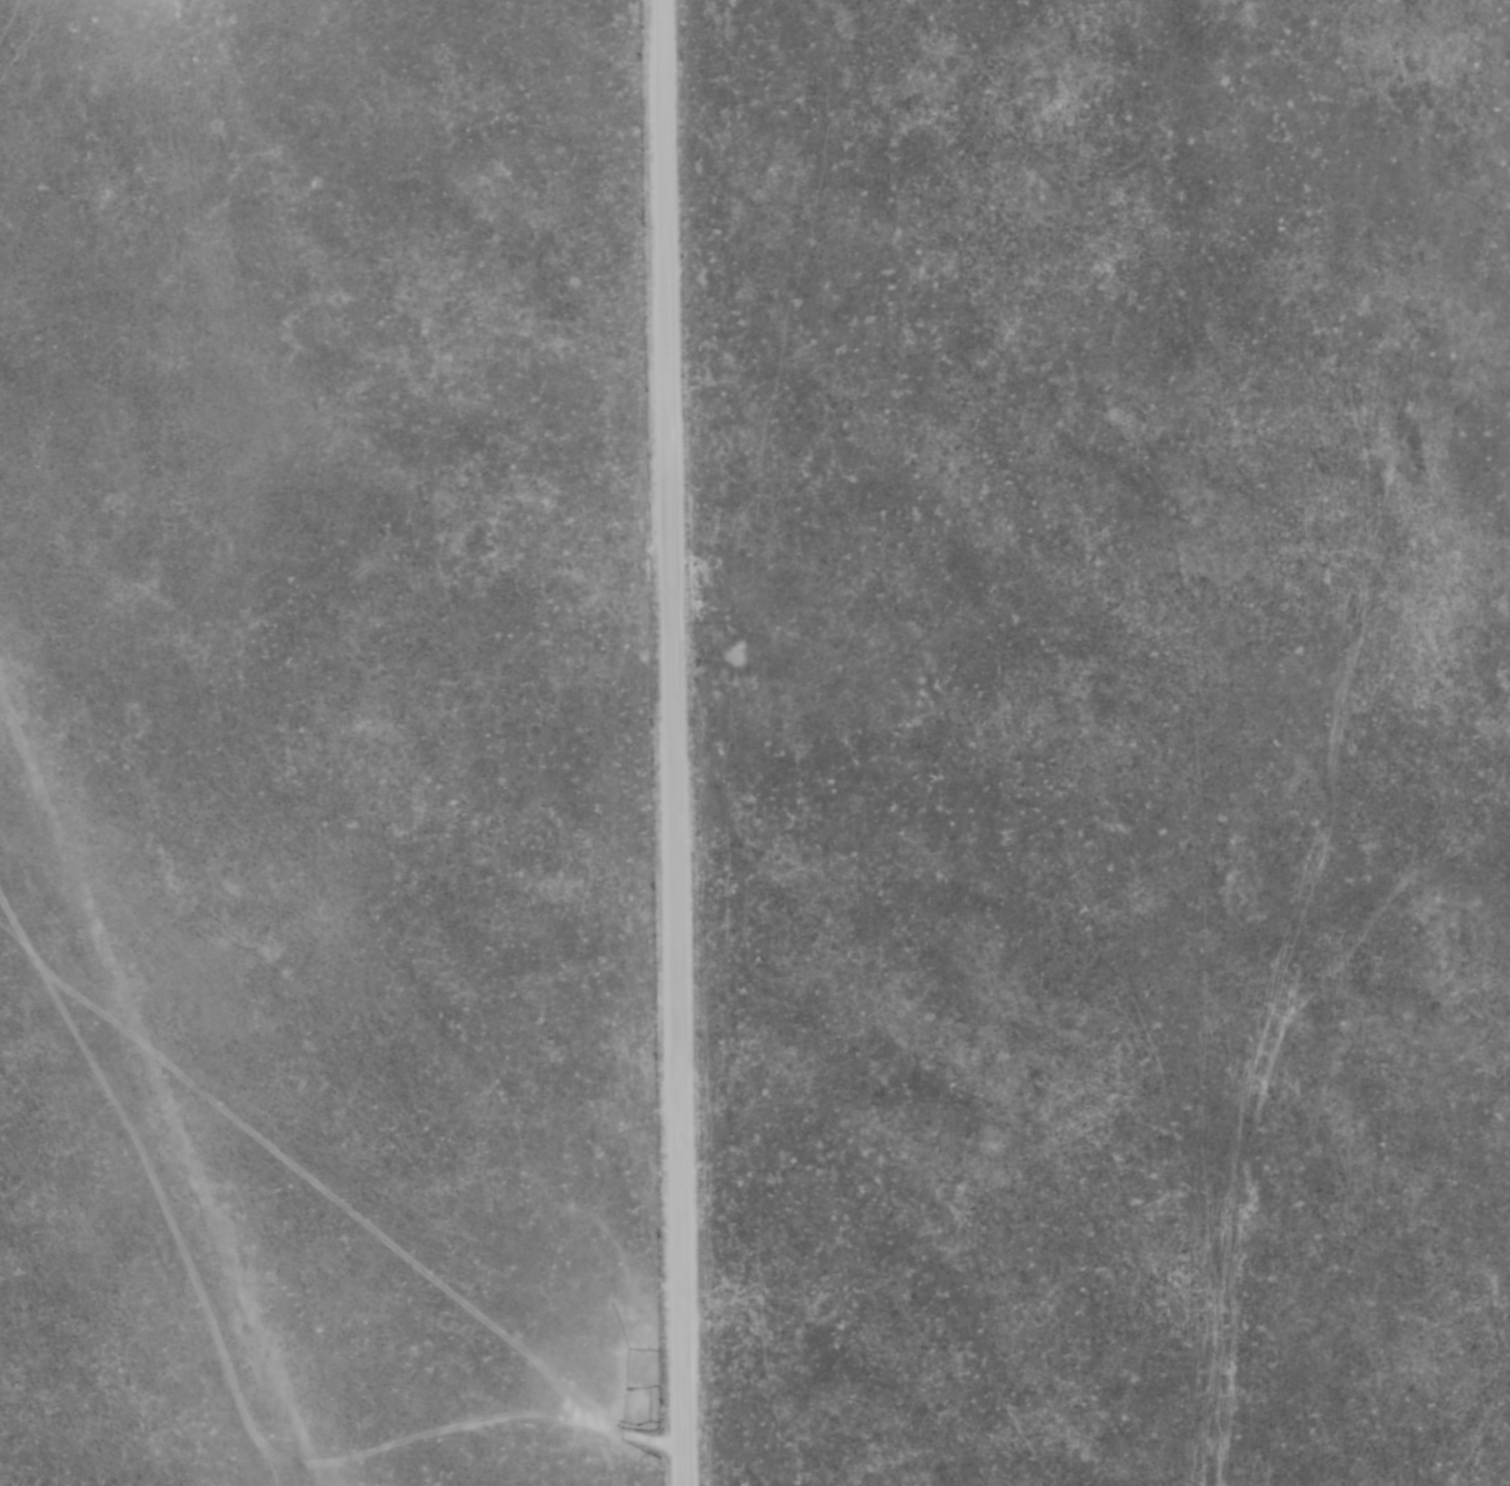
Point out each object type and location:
road: (673, 742)
road: (309, 1179)

